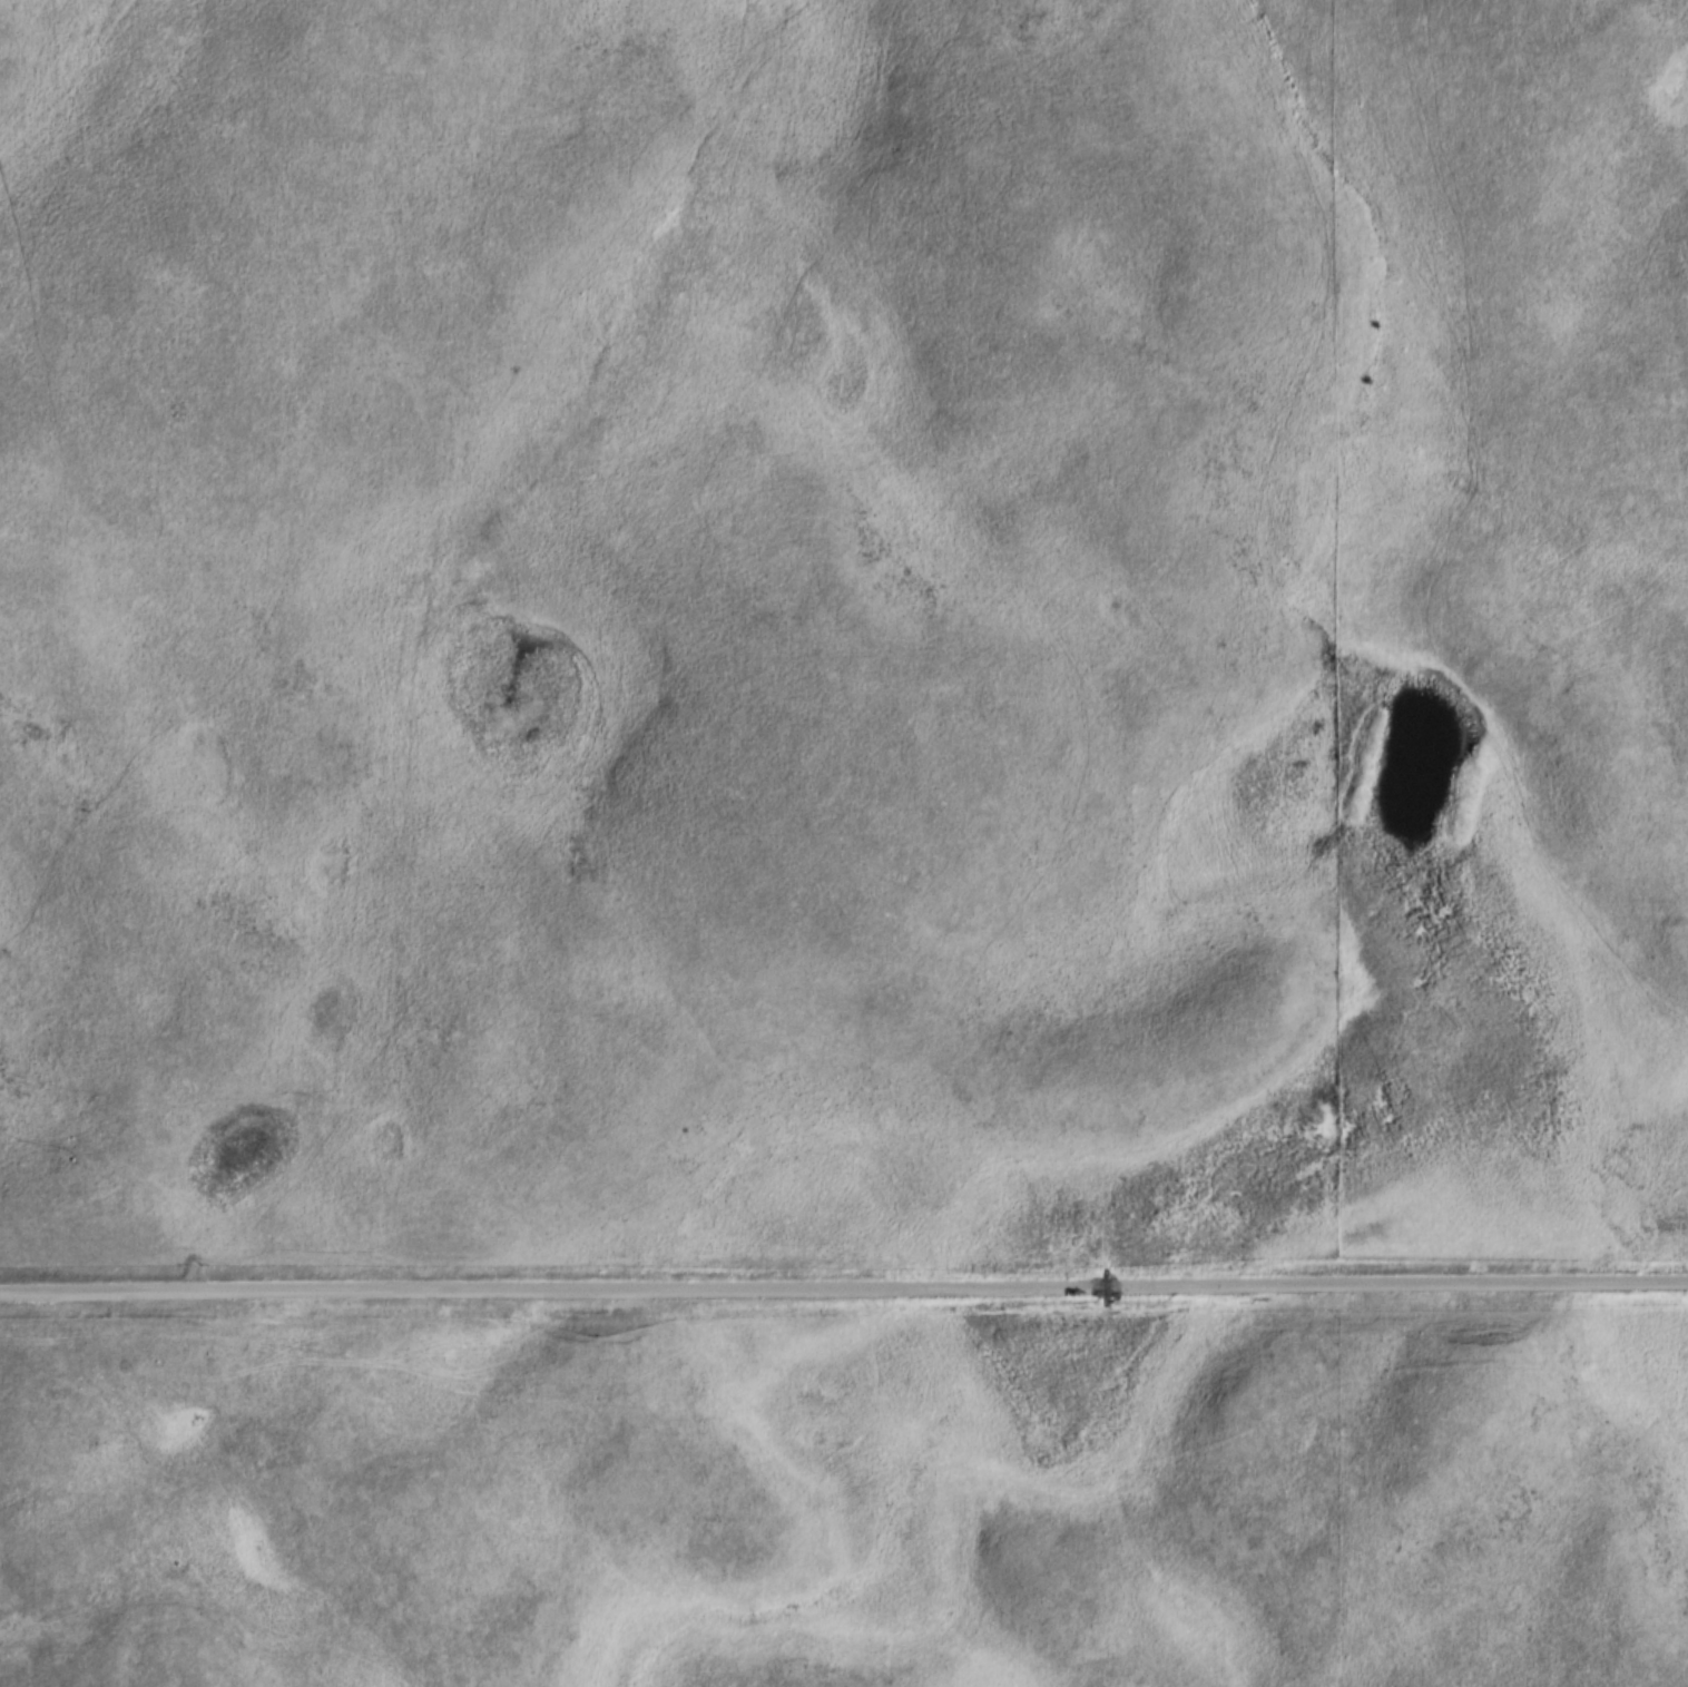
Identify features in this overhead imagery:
river: (1513, 1110)
road: (844, 1297)
river: (1043, 1359)

